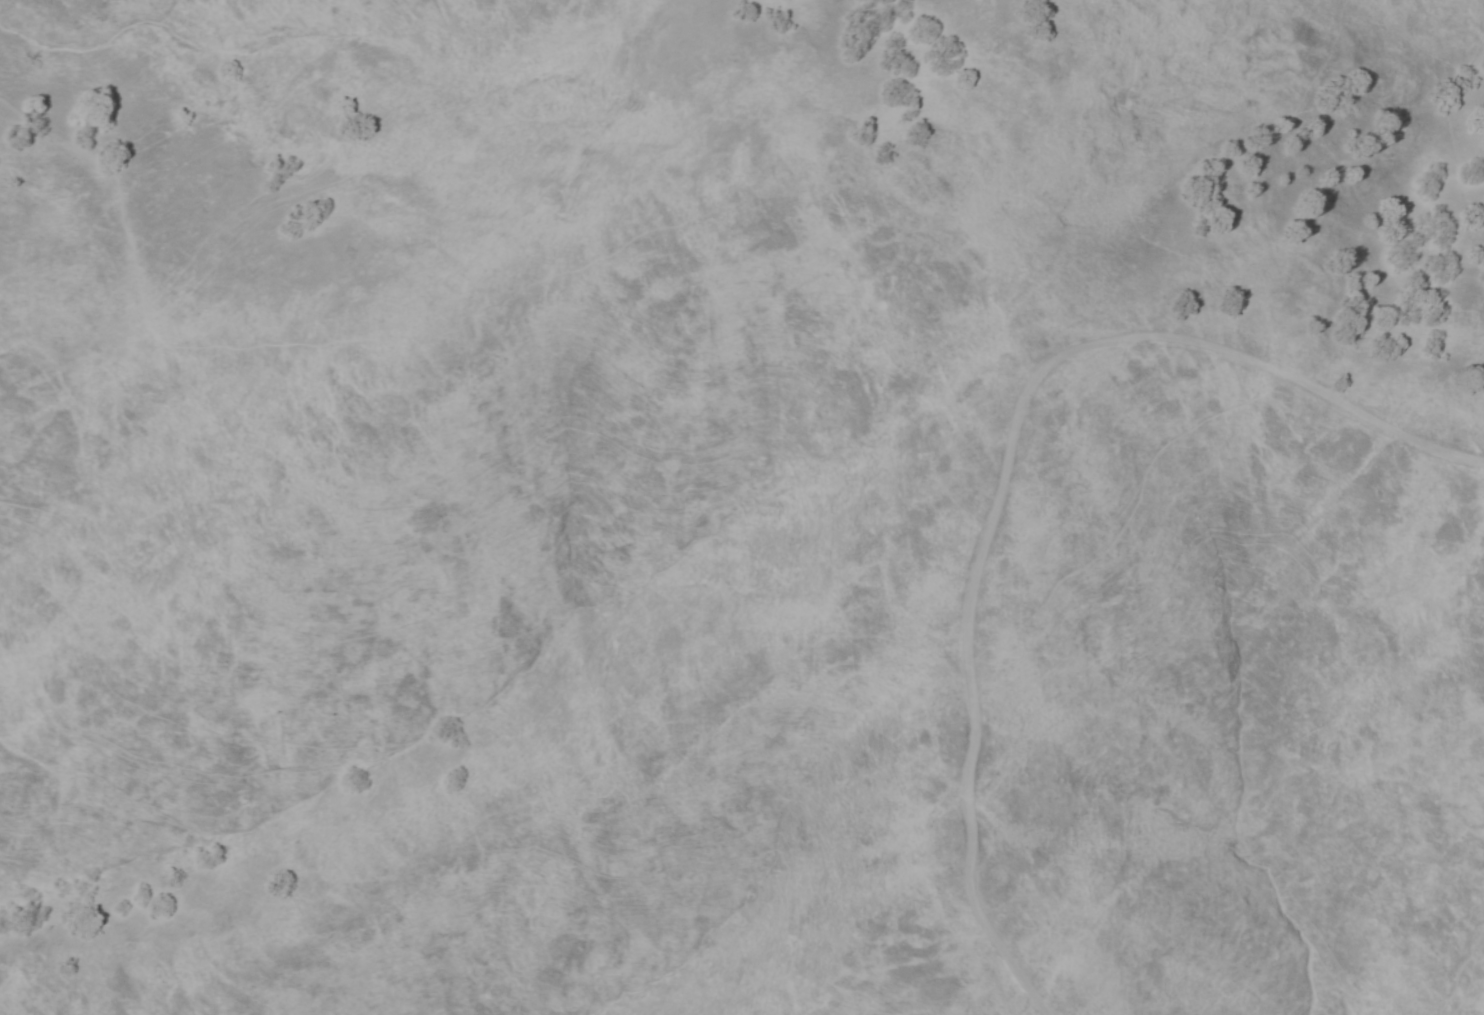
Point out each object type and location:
road: (1006, 464)

